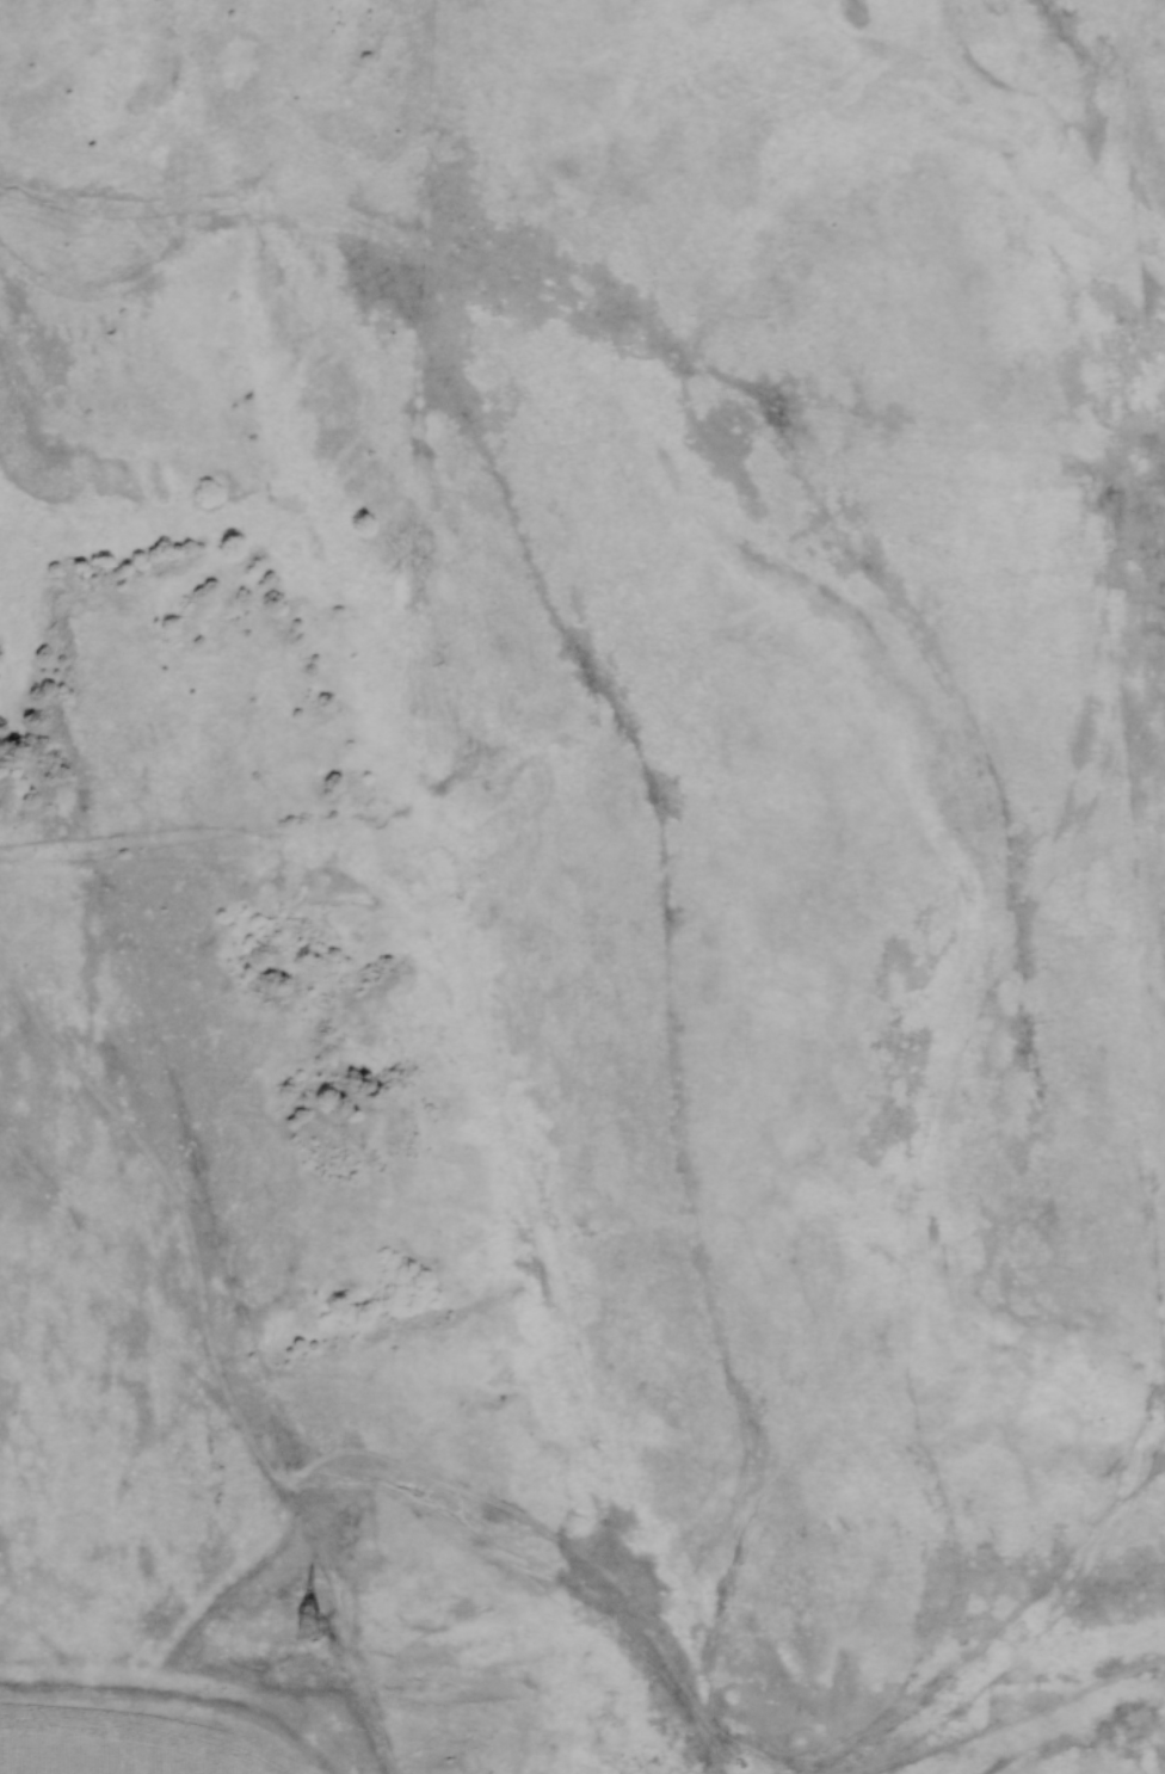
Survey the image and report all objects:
power tower: (304, 1626)

